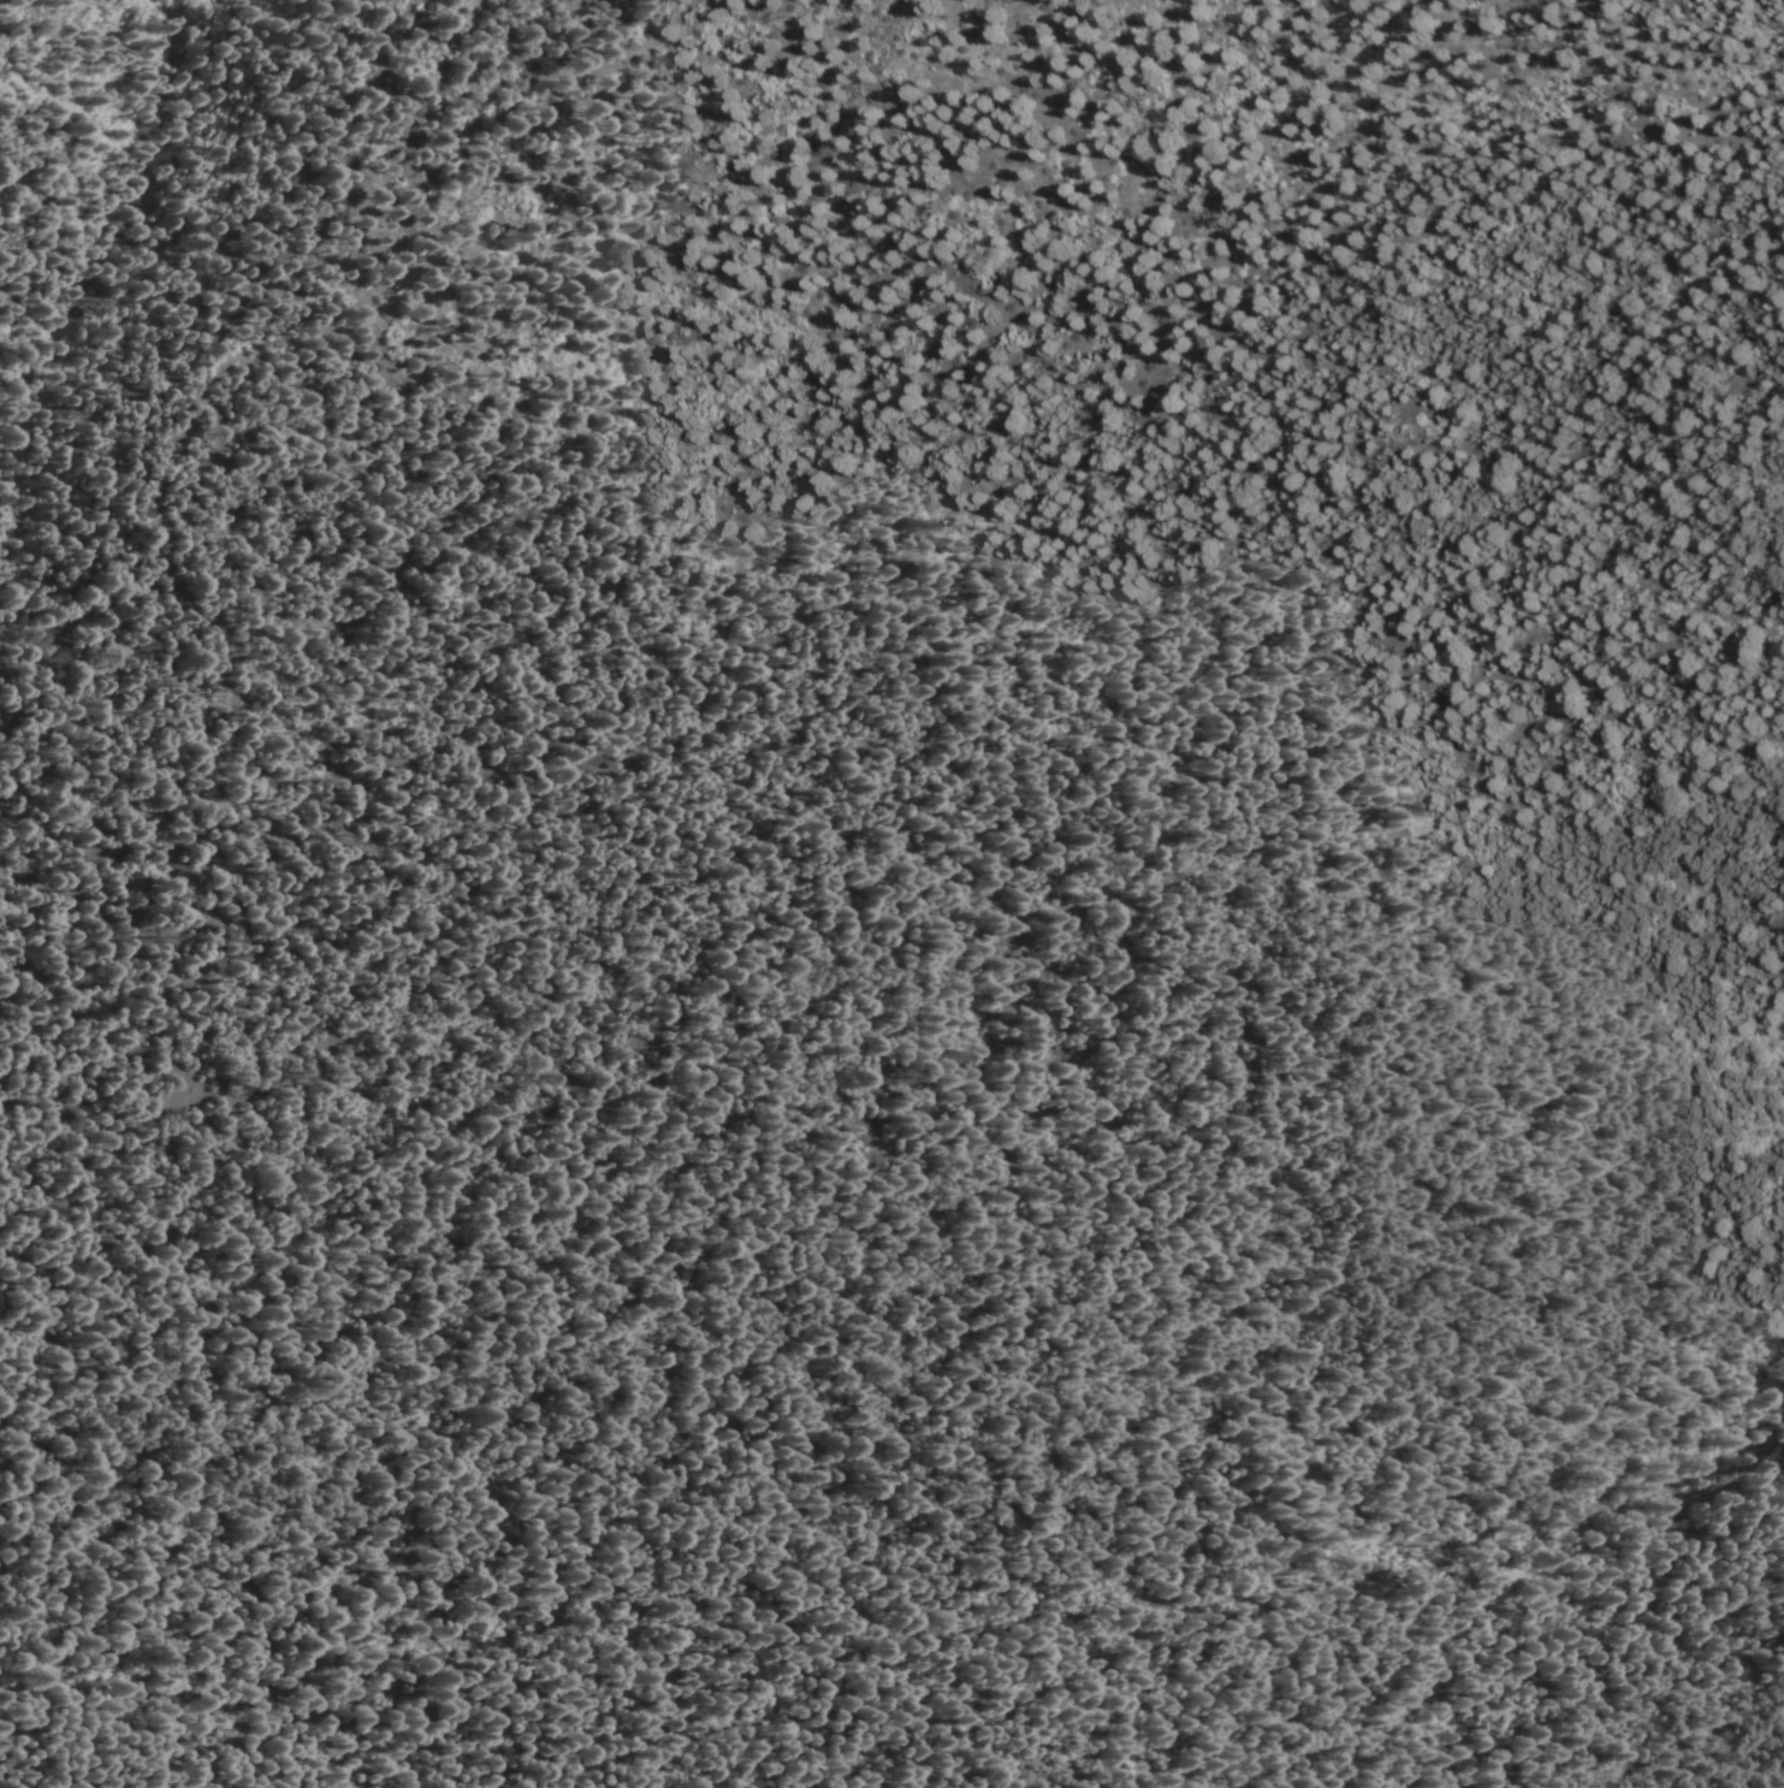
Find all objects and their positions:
road: (1210, 931)

